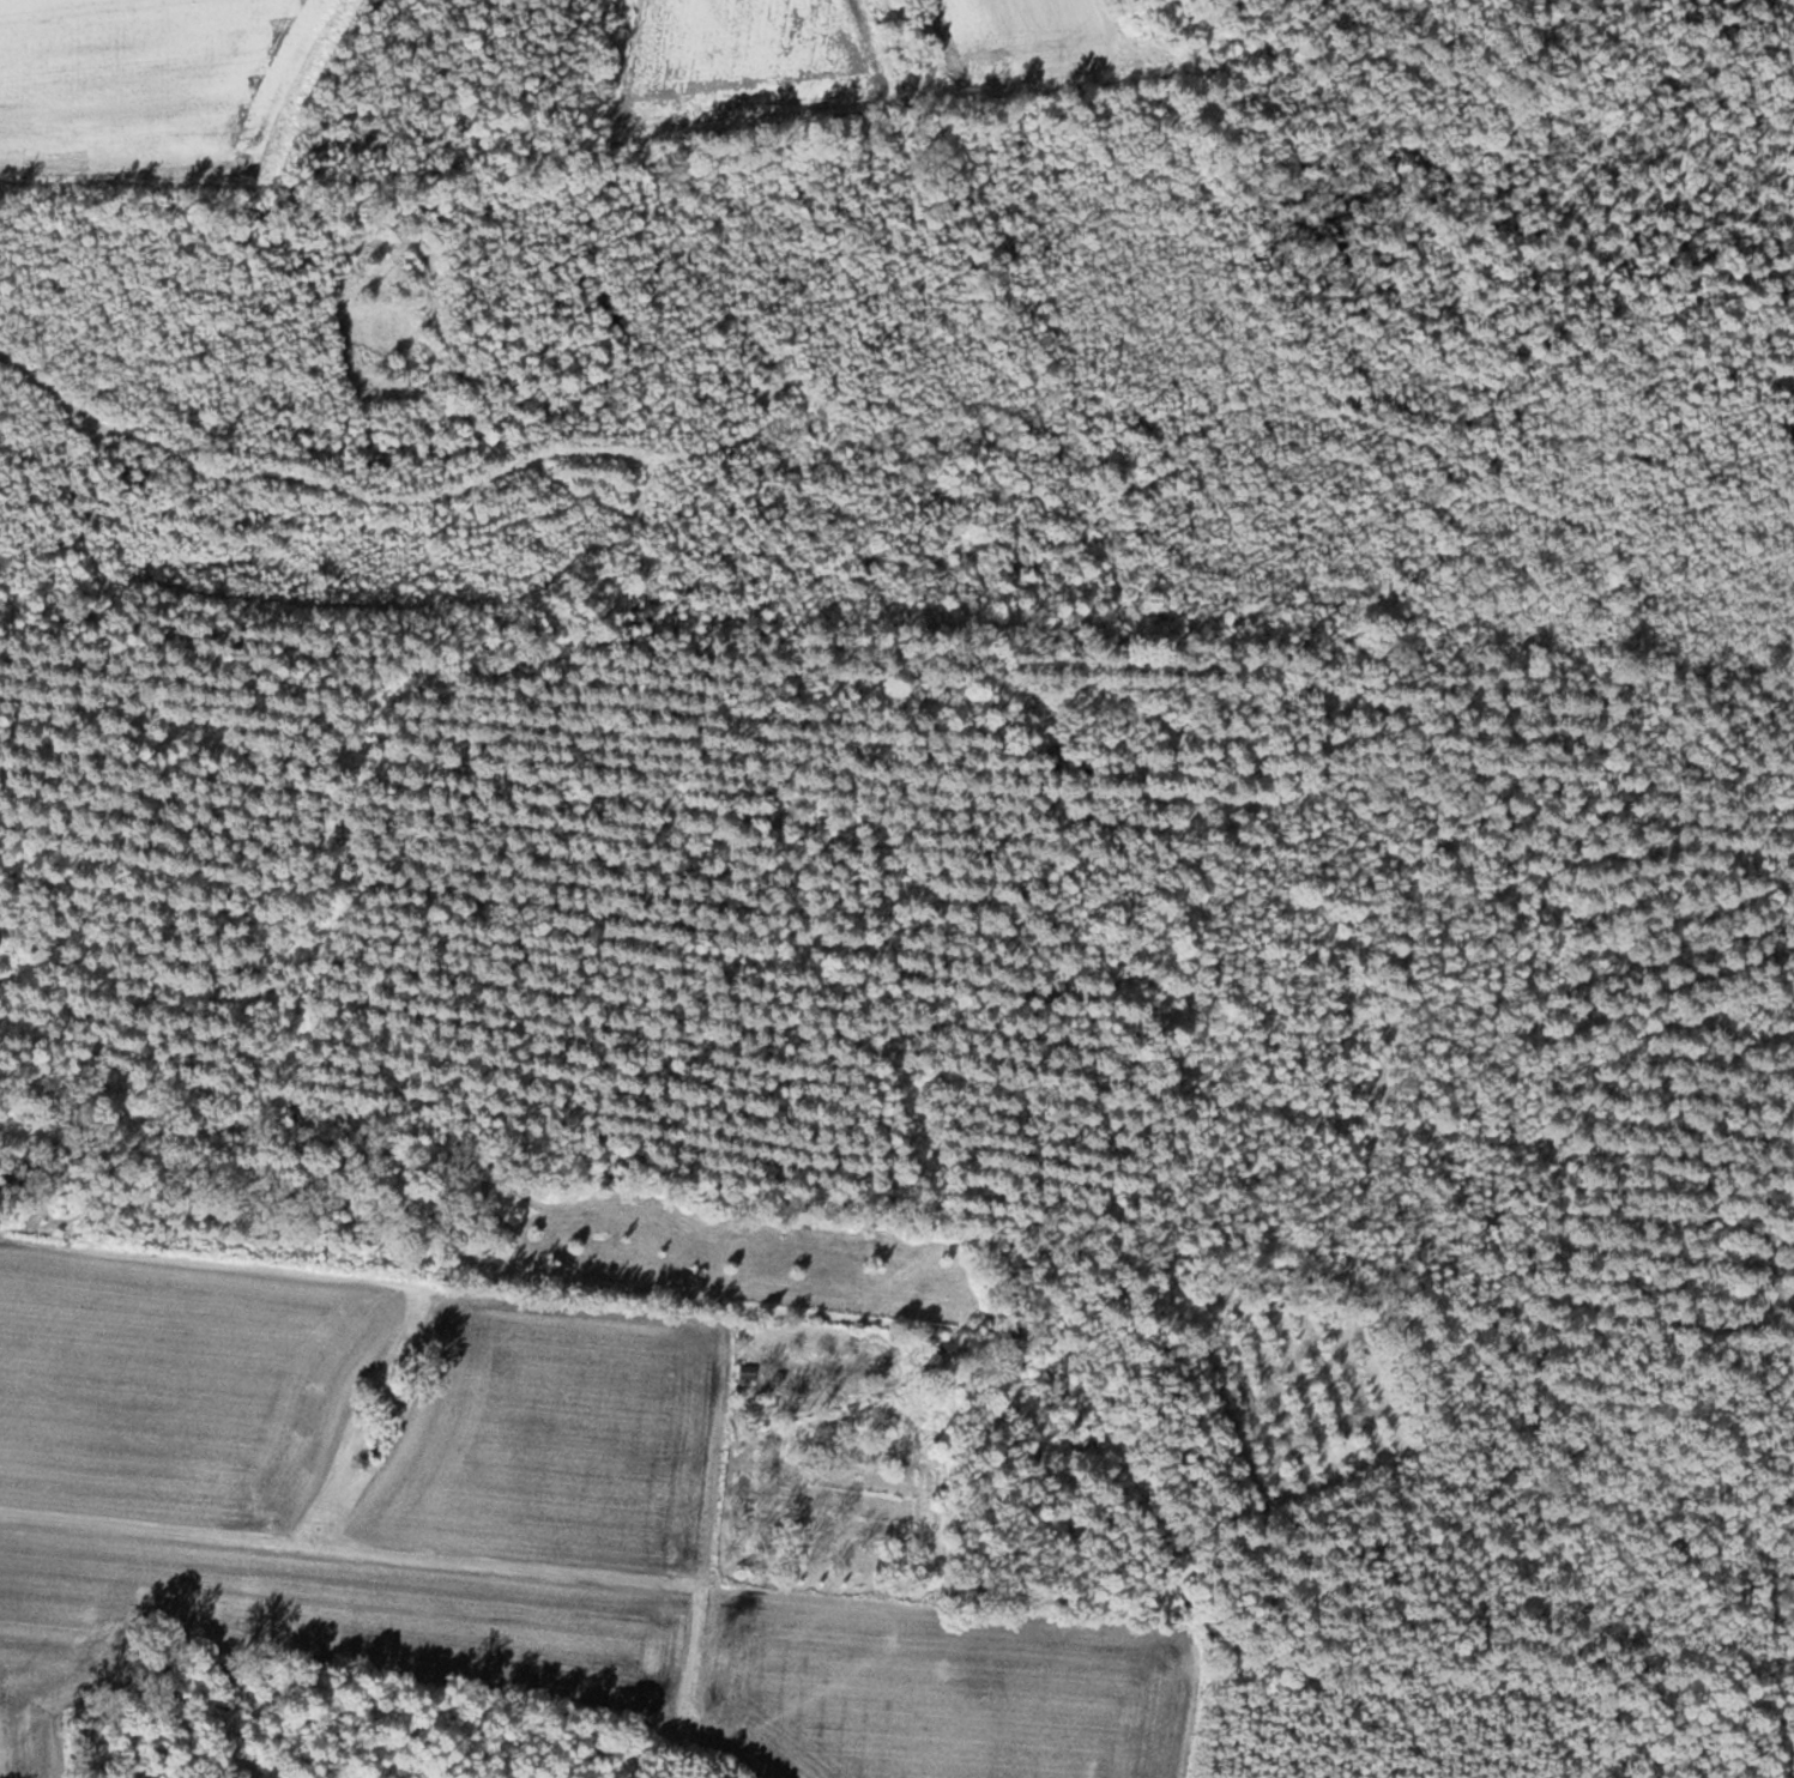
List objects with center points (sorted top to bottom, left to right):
building: (379, 1431)

